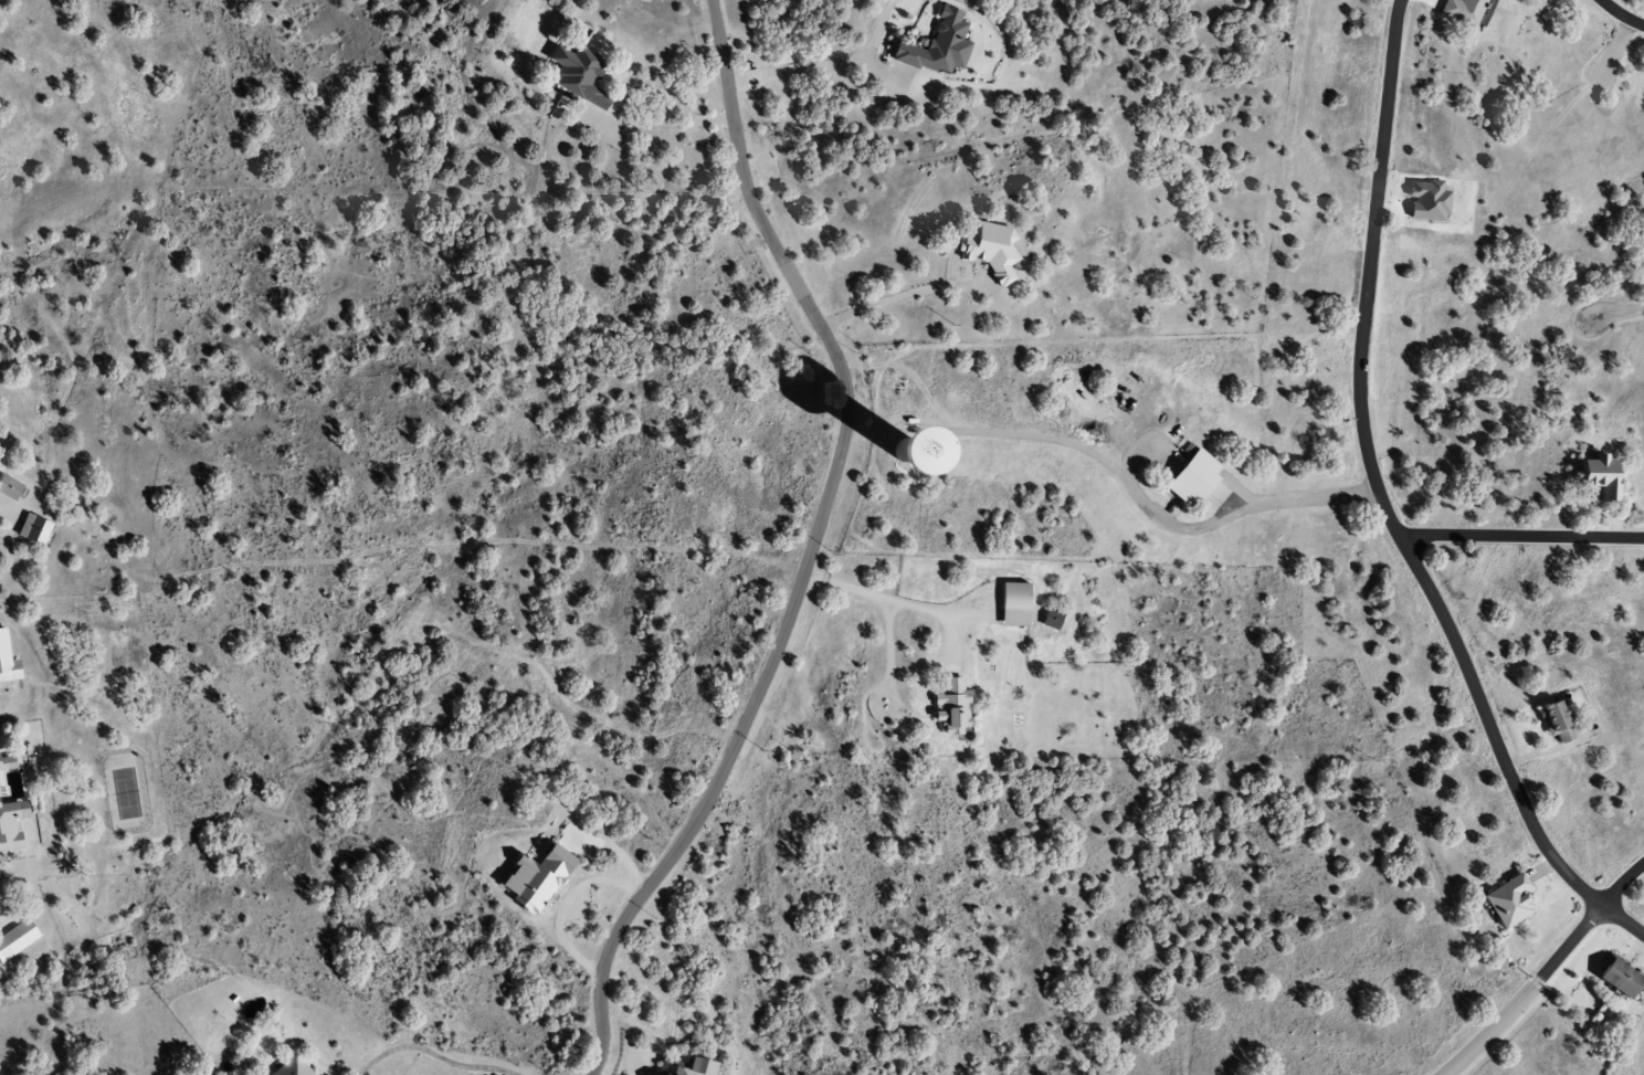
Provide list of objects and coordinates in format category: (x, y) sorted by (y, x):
building: (1463, 12)
road: (1621, 14)
building: (936, 48)
road: (1615, 48)
building: (579, 77)
building: (988, 252)
road: (1616, 312)
building: (873, 444)
water tower: (909, 451)
building: (1596, 475)
building: (1189, 478)
building: (8, 488)
road: (1383, 506)
building: (31, 530)
road: (1522, 536)
road: (811, 548)
building: (1012, 604)
building: (7, 663)
building: (948, 706)
building: (1553, 723)
building: (1, 761)
building: (8, 828)
building: (1507, 902)
building: (15, 938)
road: (1351, 941)
road: (1548, 970)
building: (1615, 978)
park: (1325, 1000)
building: (289, 1067)
building: (670, 1068)
building: (650, 1074)

